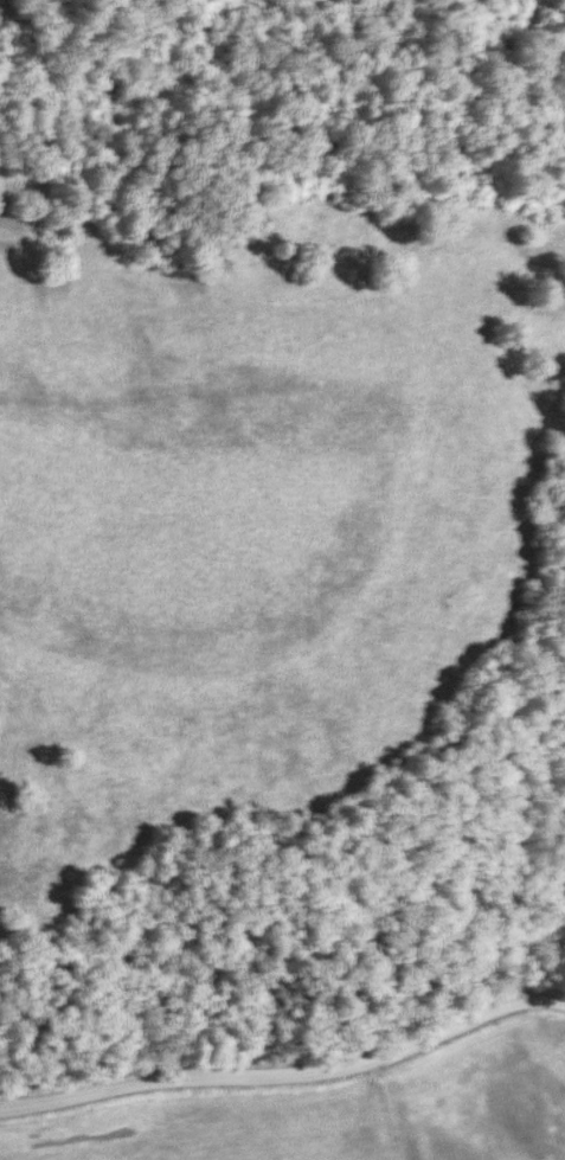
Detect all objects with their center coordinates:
road: (287, 1072)

